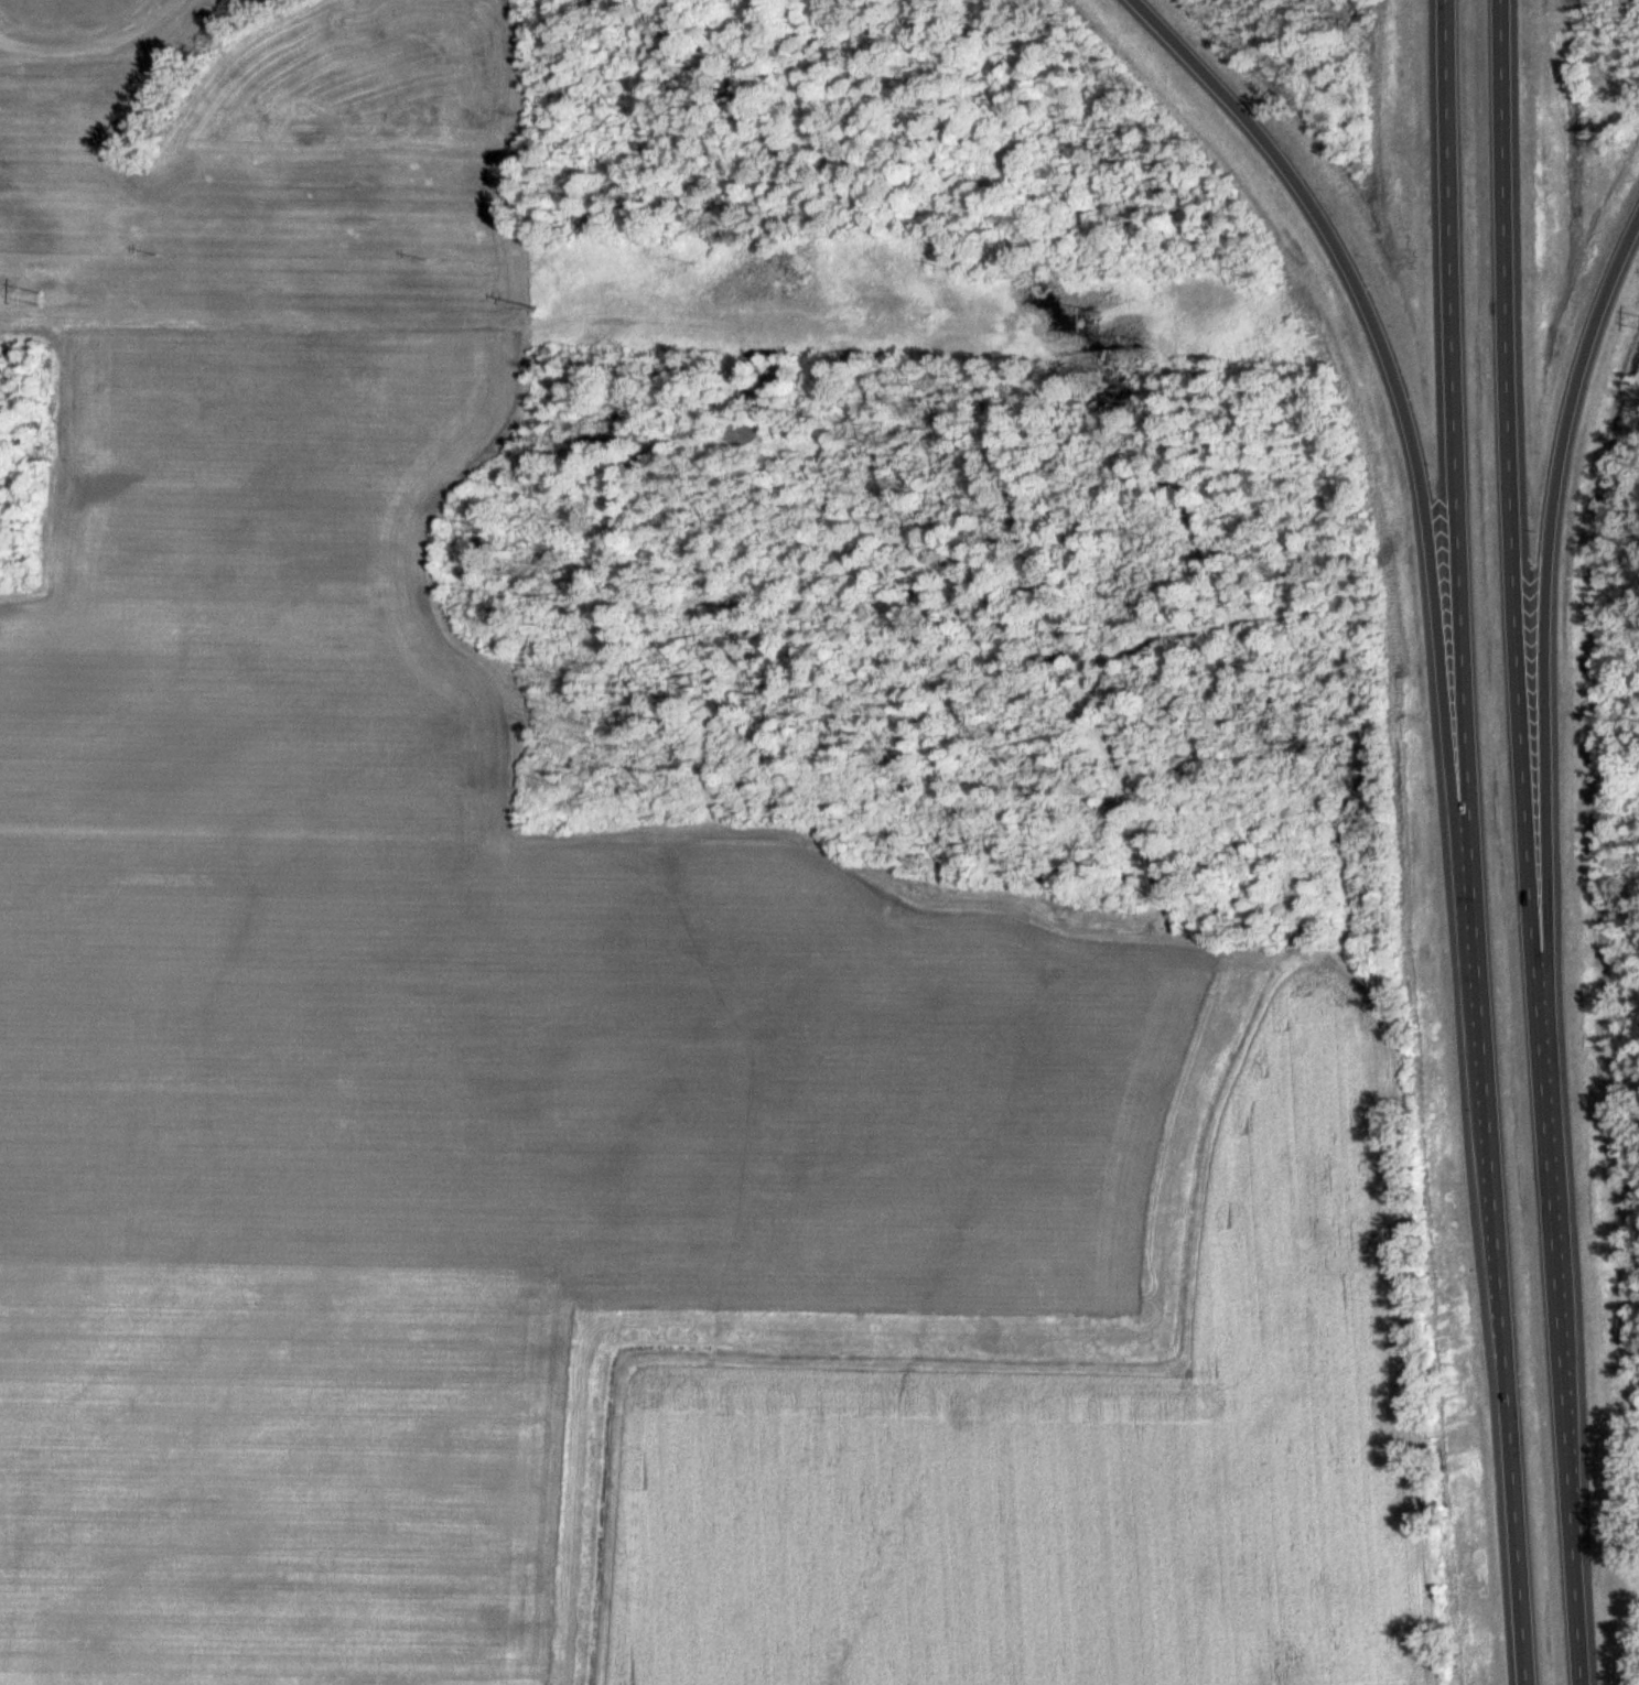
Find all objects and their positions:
road: (88, 45)
crop: (69, 118)
road: (196, 172)
power tower: (41, 299)
power tower: (537, 309)
power tower: (1098, 318)
road: (1393, 374)
road: (1546, 577)
road: (1471, 843)
road: (1528, 843)
crop: (421, 1006)
crop: (840, 1344)
road: (955, 1370)
crop: (1078, 1460)

